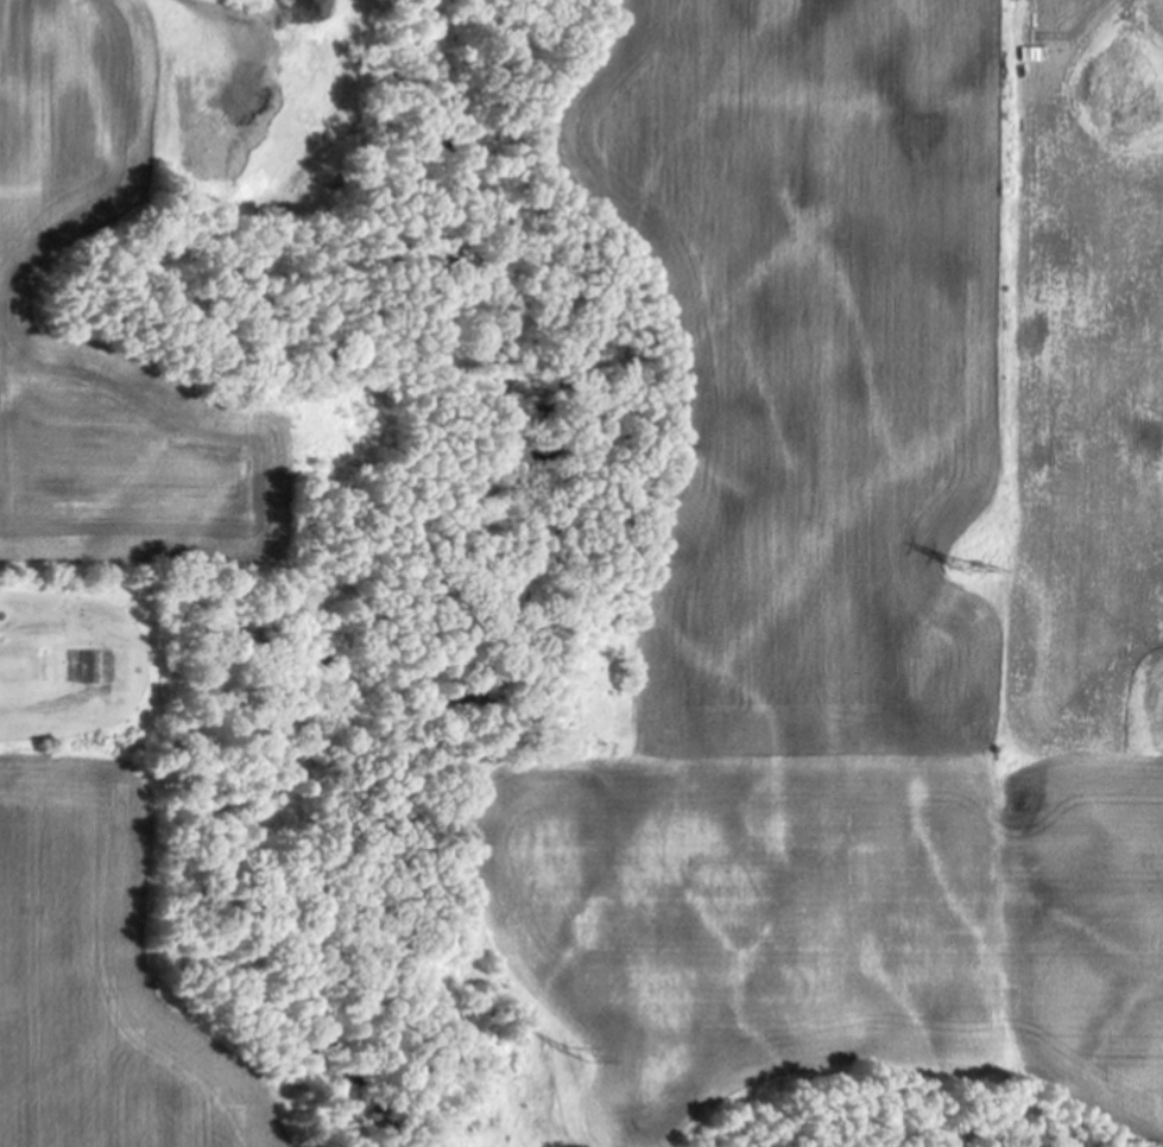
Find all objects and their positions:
power tower: (969, 571)
power tower: (588, 1058)

